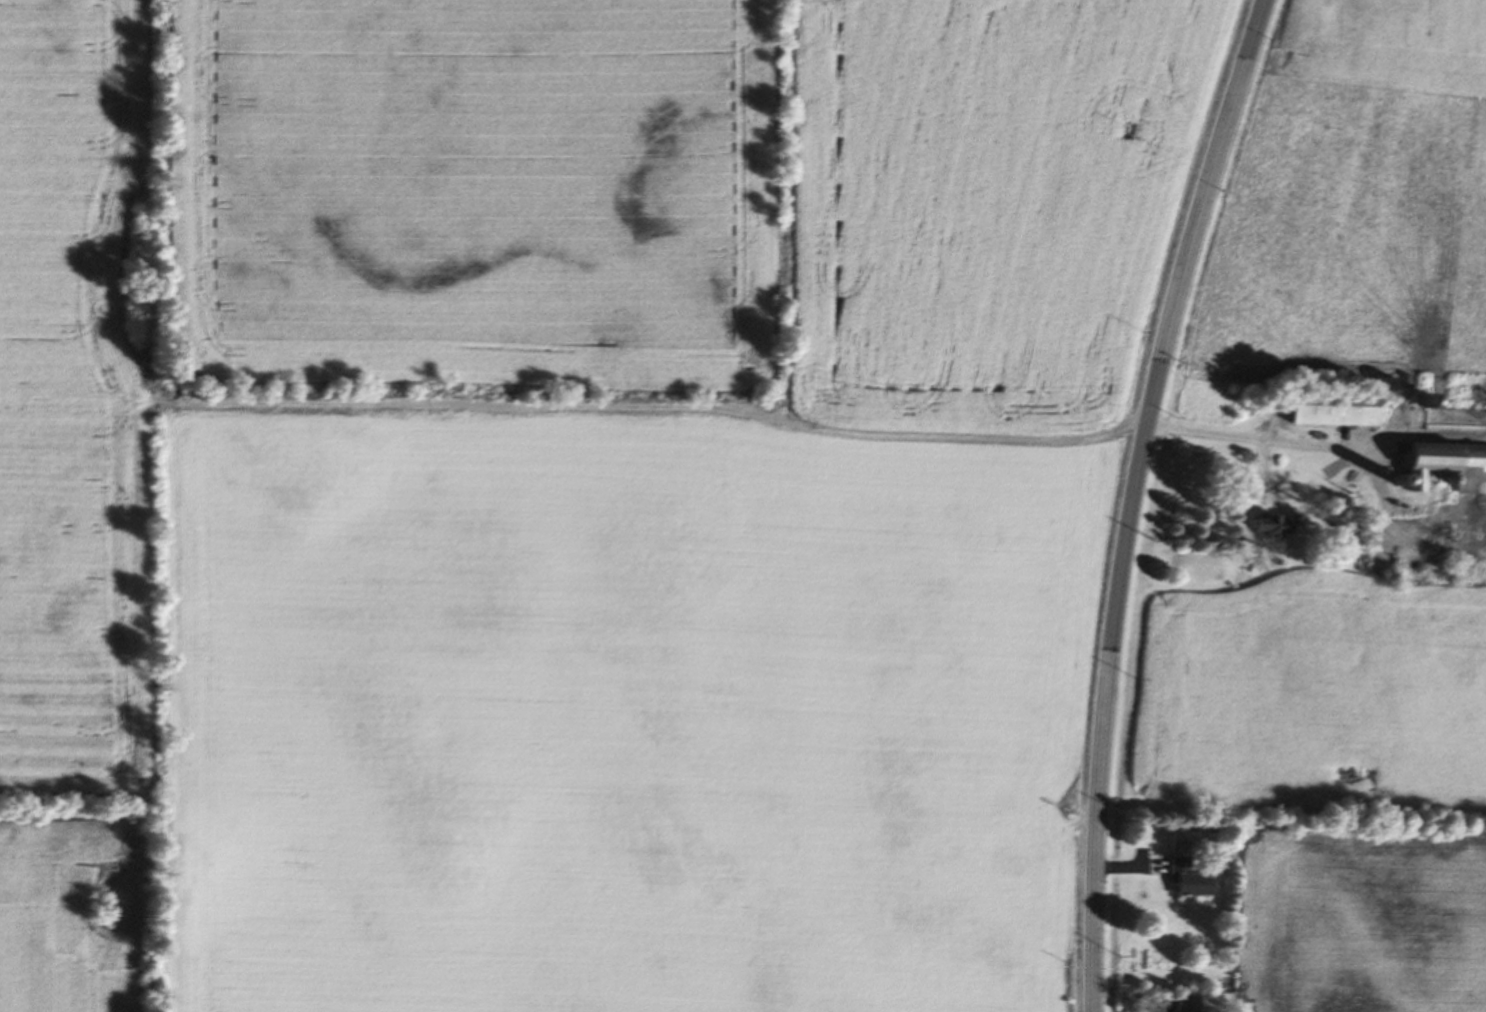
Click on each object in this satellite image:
building: (1329, 412)
road: (1258, 436)
building: (1439, 461)
road: (1134, 498)
building: (1263, 525)
building: (1179, 841)
building: (1185, 877)
building: (1181, 1003)

